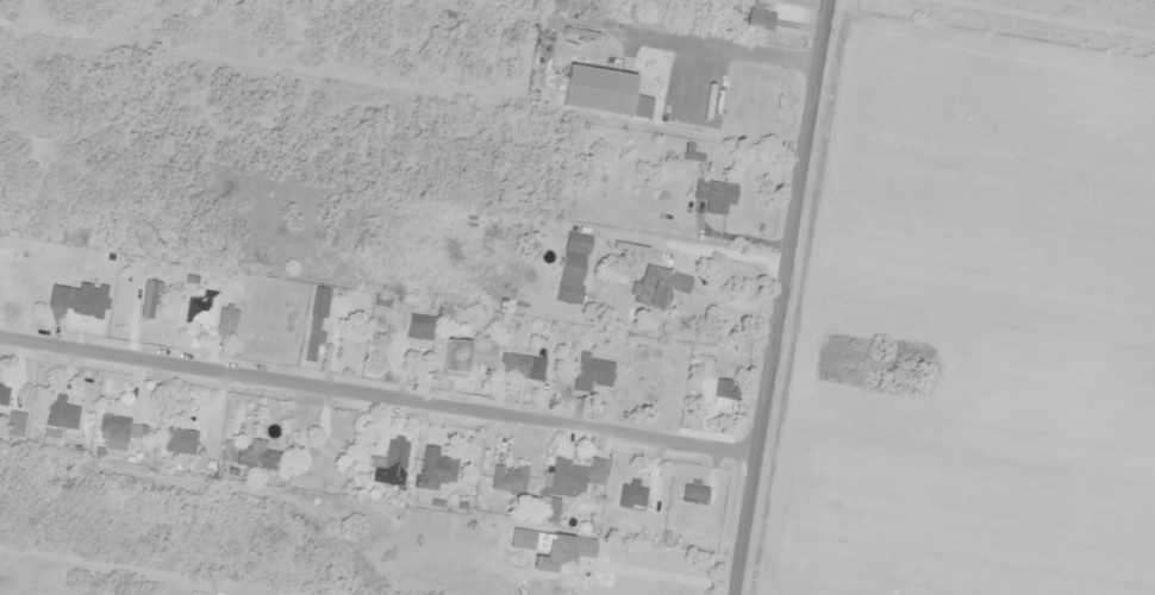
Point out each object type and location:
building: (606, 92)
building: (714, 195)
building: (8, 267)
building: (573, 269)
building: (661, 287)
road: (780, 297)
building: (151, 300)
building: (316, 325)
building: (420, 327)
building: (458, 357)
building: (594, 372)
road: (377, 396)
building: (58, 412)
building: (114, 426)
building: (294, 439)
building: (191, 441)
building: (374, 450)
building: (437, 468)
building: (575, 476)
building: (508, 478)
building: (695, 494)
building: (632, 496)
building: (551, 511)

